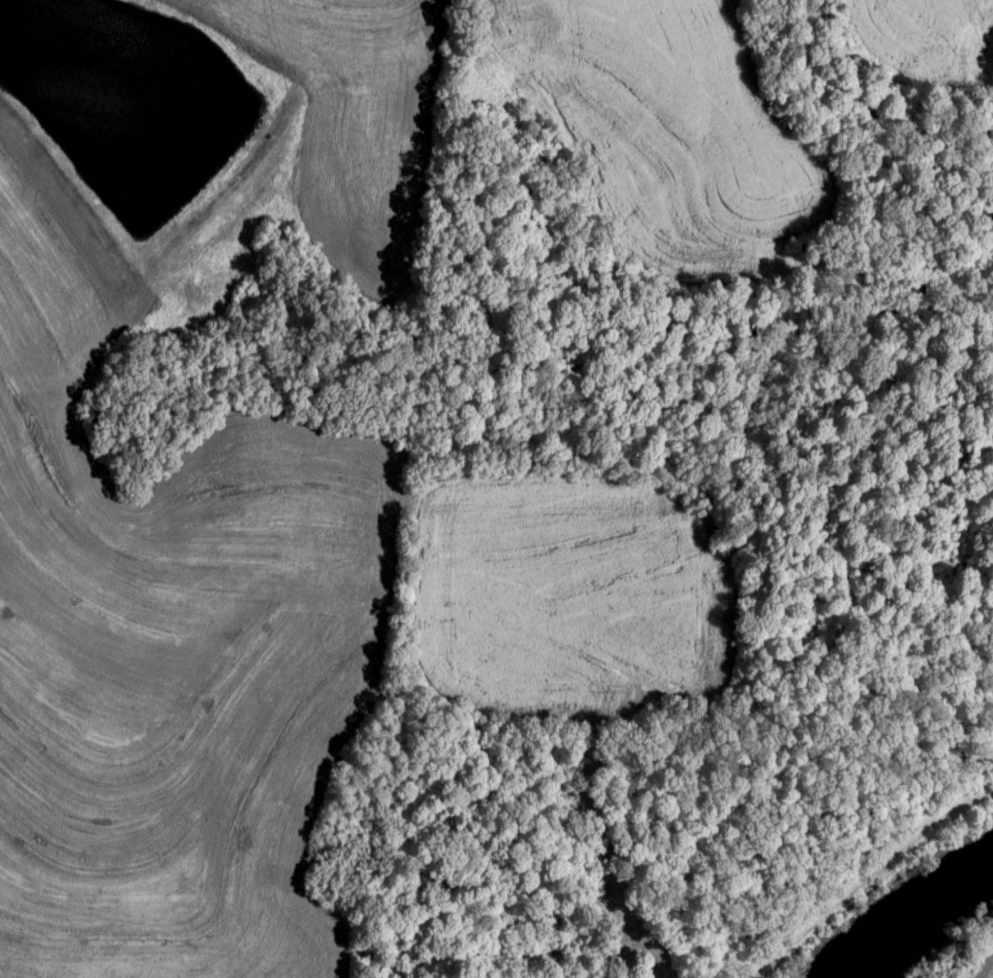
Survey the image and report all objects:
road: (866, 873)

